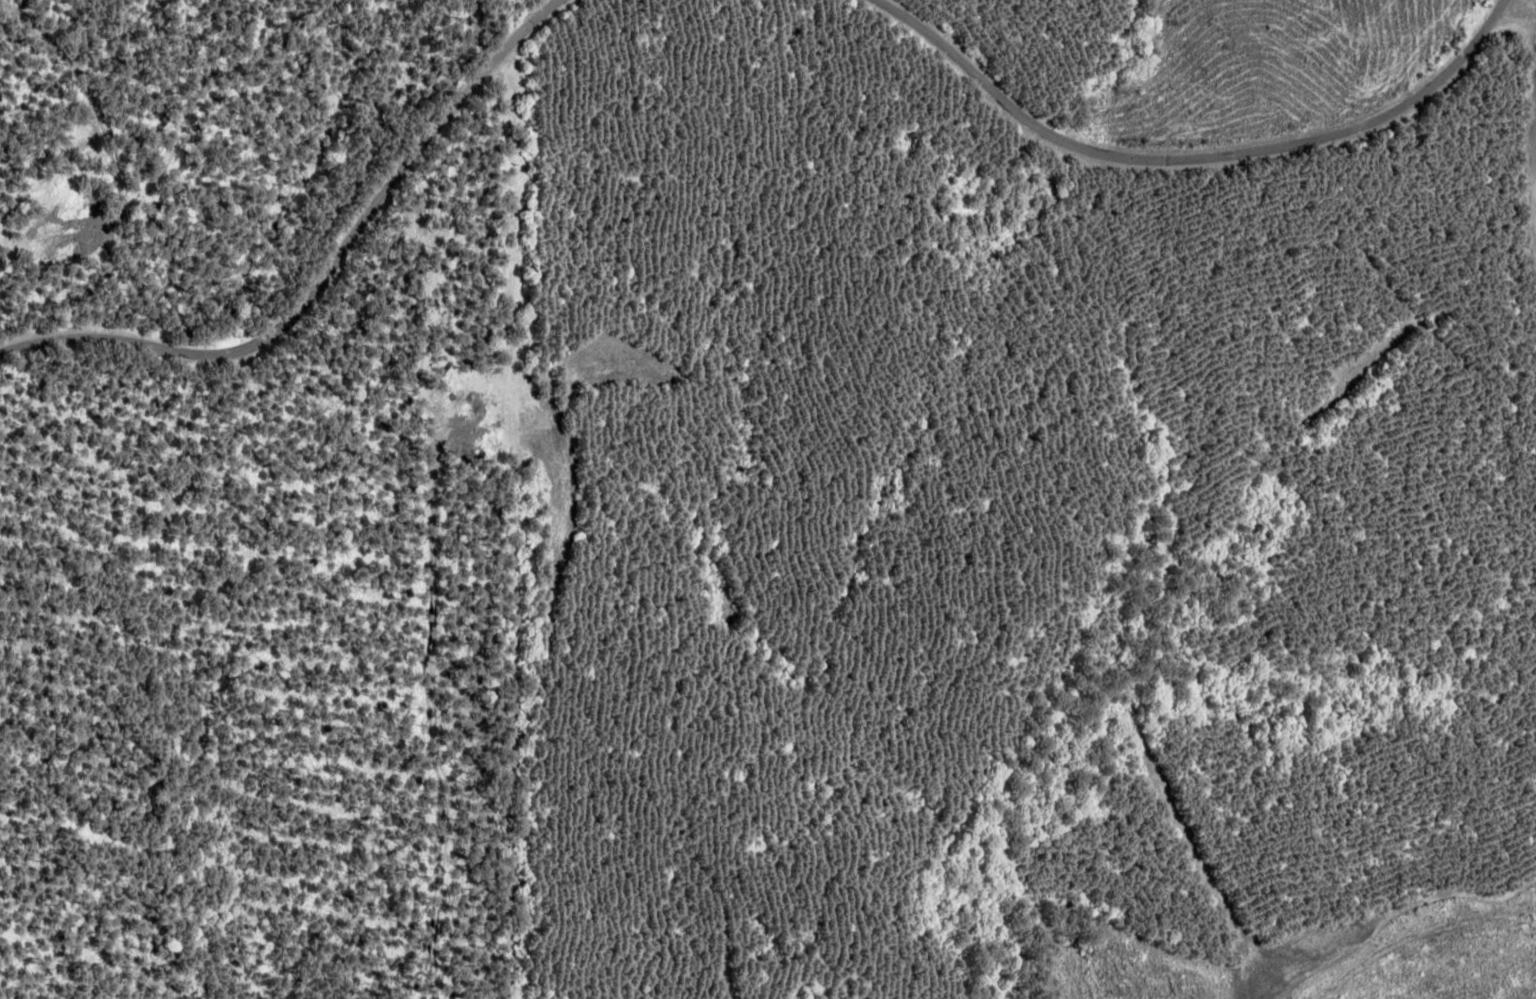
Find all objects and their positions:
road: (766, 1)
road: (1527, 96)

